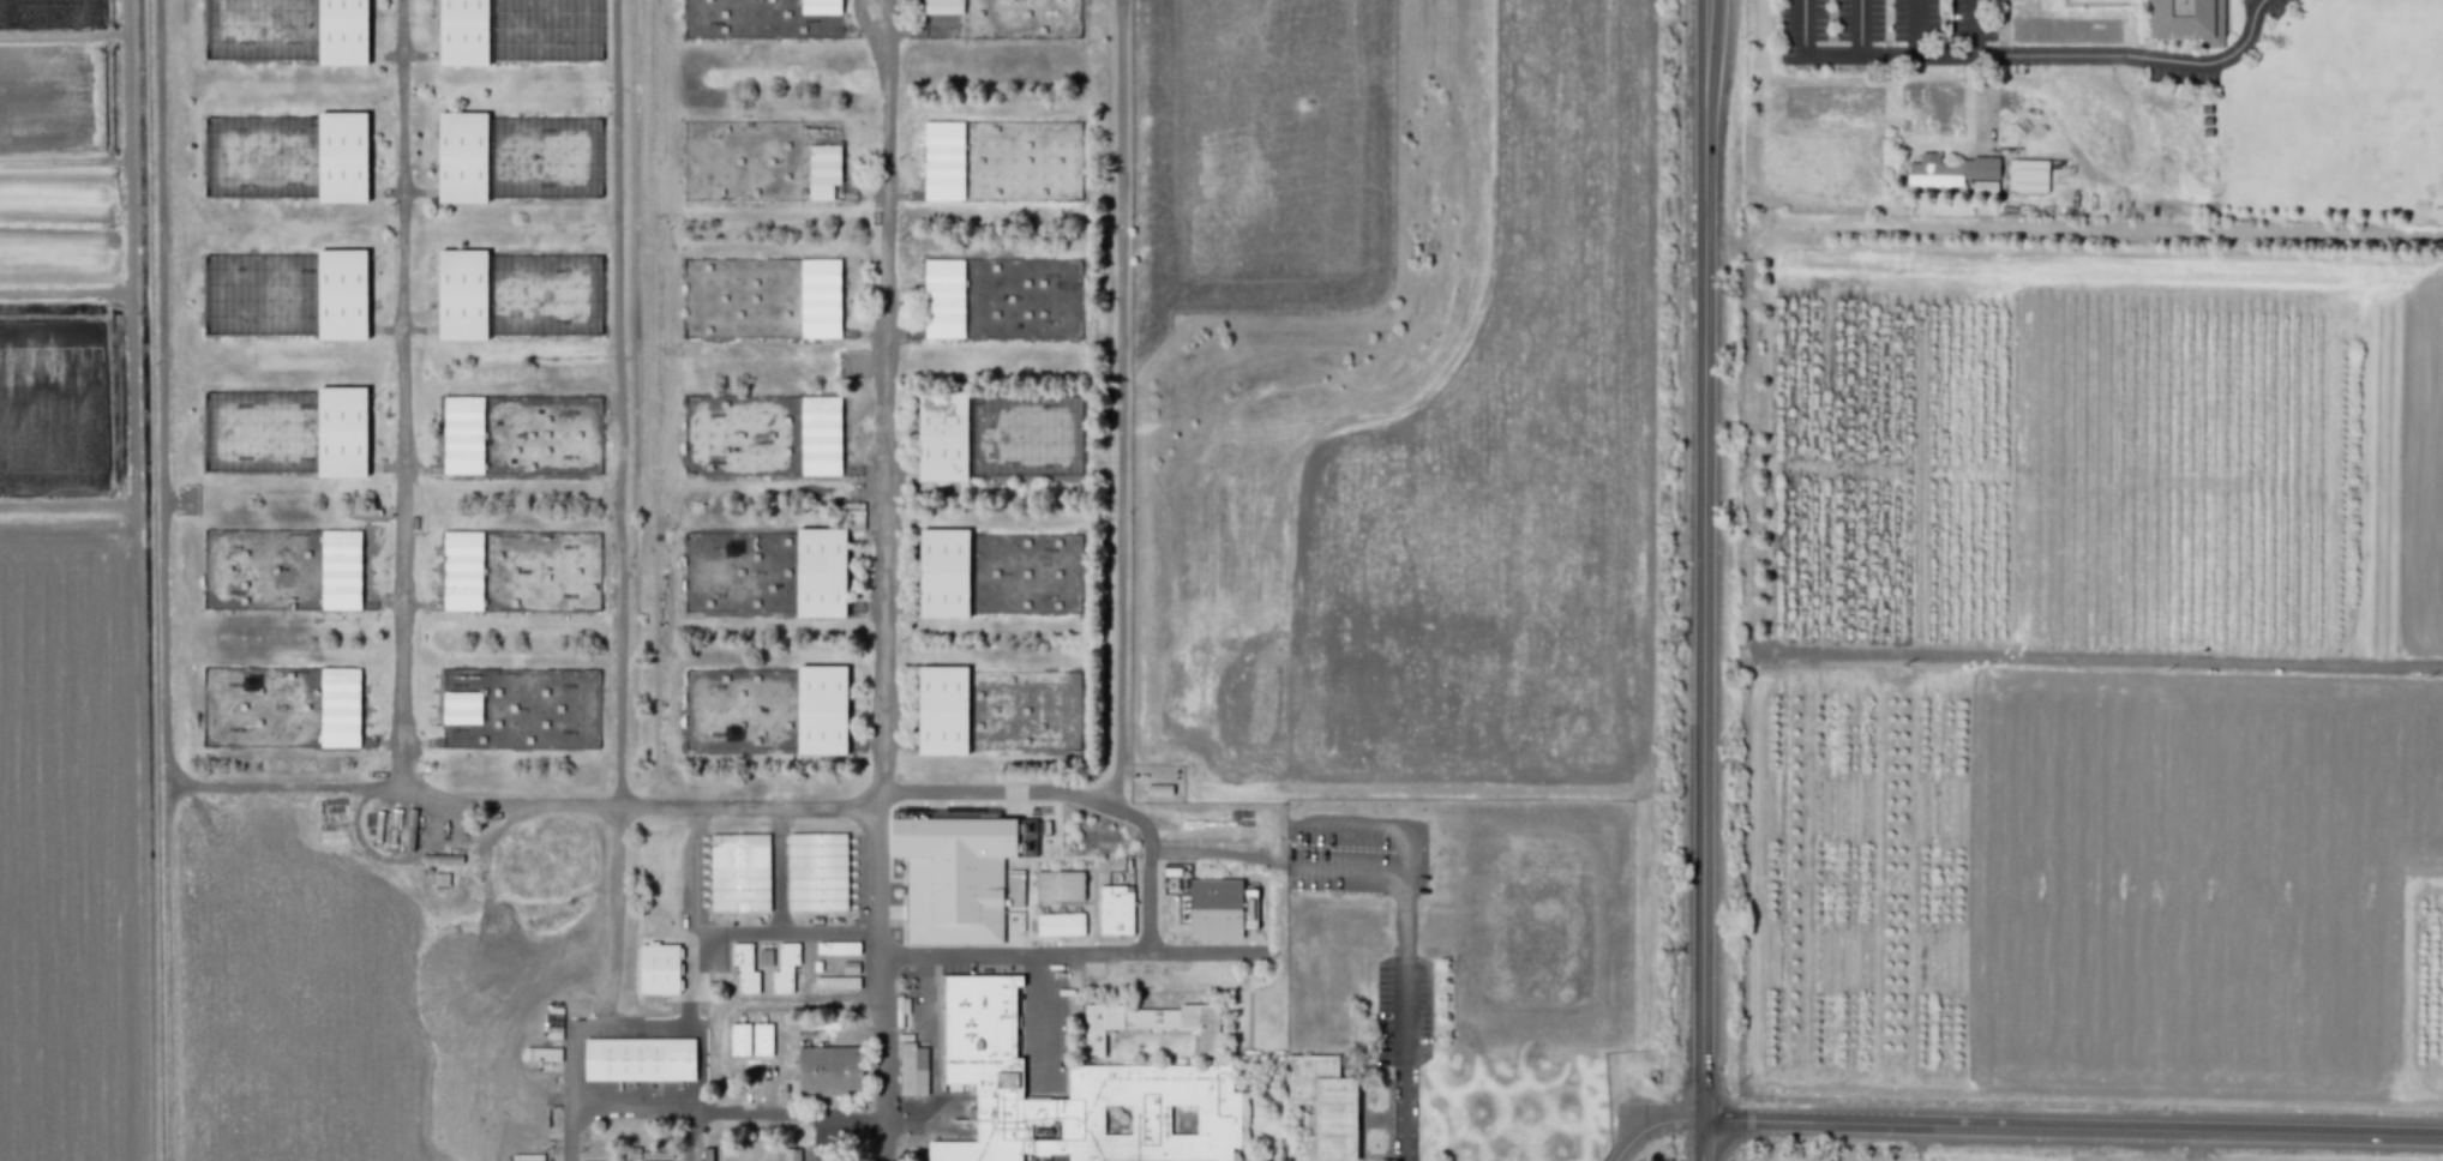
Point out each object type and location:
building: (820, 18)
building: (942, 18)
road: (1916, 18)
building: (2187, 19)
road: (1803, 22)
road: (1862, 22)
road: (2004, 22)
parking lot: (1873, 30)
building: (342, 31)
building: (463, 32)
road: (2113, 54)
road: (1983, 97)
park: (2337, 115)
building: (342, 156)
building: (461, 157)
building: (943, 160)
building: (1015, 160)
building: (823, 161)
building: (1951, 169)
building: (2027, 175)
building: (341, 294)
building: (461, 294)
building: (943, 297)
road: (882, 396)
road: (622, 402)
road: (1121, 403)
building: (341, 432)
building: (462, 434)
building: (820, 435)
building: (941, 435)
building: (1015, 439)
road: (1703, 559)
building: (340, 570)
building: (462, 570)
building: (820, 572)
building: (942, 572)
road: (163, 580)
road: (401, 628)
road: (2100, 660)
building: (340, 706)
building: (461, 708)
building: (821, 709)
building: (941, 710)
road: (284, 784)
building: (1158, 789)
road: (1078, 795)
road: (1370, 826)
parking lot: (1356, 854)
road: (782, 867)
road: (1349, 871)
building: (744, 872)
building: (821, 872)
building: (954, 874)
building: (439, 879)
building: (1062, 885)
building: (1218, 907)
building: (1118, 910)
road: (617, 913)
building: (1063, 925)
road: (728, 930)
building: (841, 948)
road: (1076, 952)
building: (764, 957)
building: (659, 968)
building: (749, 968)
building: (788, 968)
road: (877, 975)
building: (840, 983)
road: (1405, 1017)
road: (1042, 1018)
building: (1154, 1019)
road: (631, 1022)
building: (1104, 1025)
building: (1205, 1025)
building: (984, 1033)
road: (698, 1040)
parking lot: (1404, 1042)
building: (637, 1061)
building: (834, 1069)
building: (911, 1069)
road: (571, 1090)
road: (727, 1108)
building: (1325, 1108)
building: (1044, 1112)
road: (1646, 1120)
road: (2072, 1126)
road: (821, 1137)
road: (1701, 1141)
building: (978, 1151)
building: (792, 1155)
building: (527, 1156)

